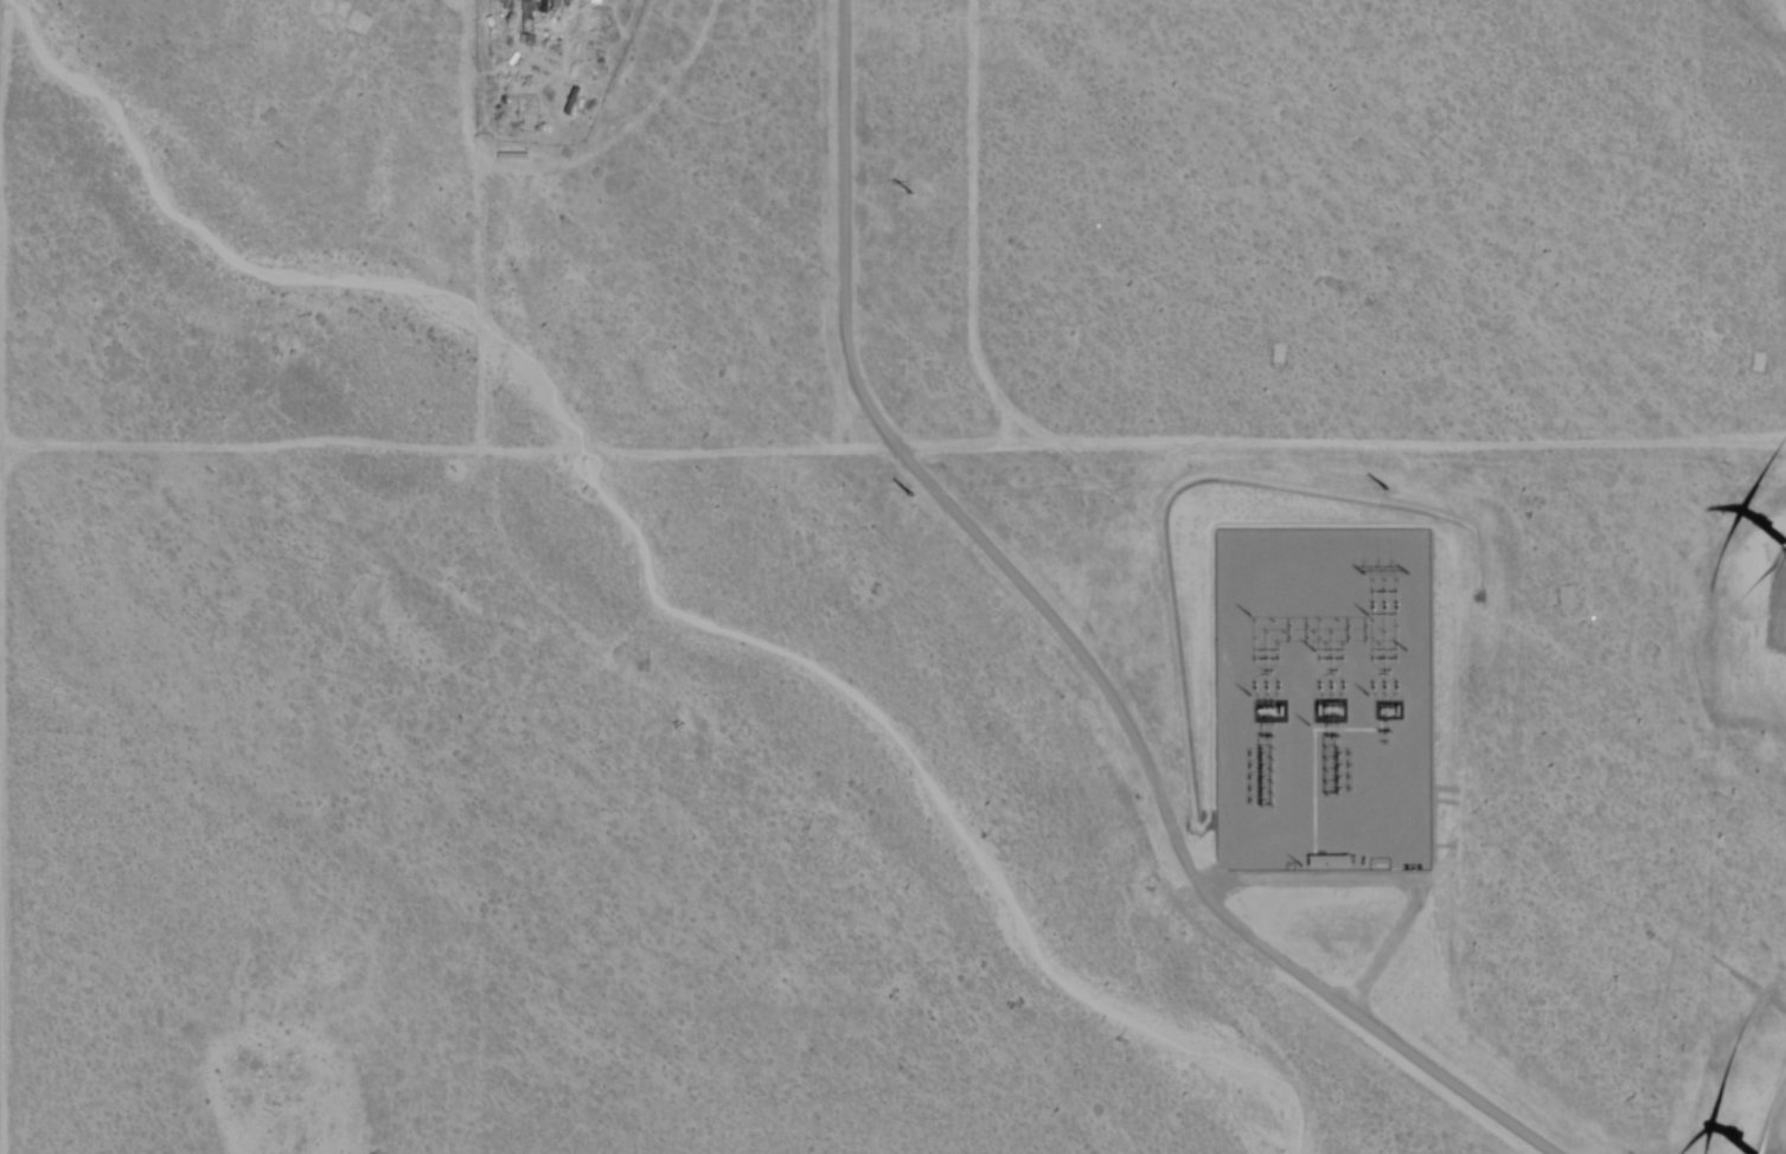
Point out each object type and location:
road: (0, 4)
building: (531, 8)
building: (351, 21)
building: (566, 100)
road: (1529, 443)
road: (636, 447)
power tower: (1390, 493)
power tower: (916, 498)
power tower: (1389, 573)
building: (363, 602)
building: (1094, 613)
power substation: (1326, 705)
road: (1, 1028)
building: (287, 1133)
road: (258, 1153)

